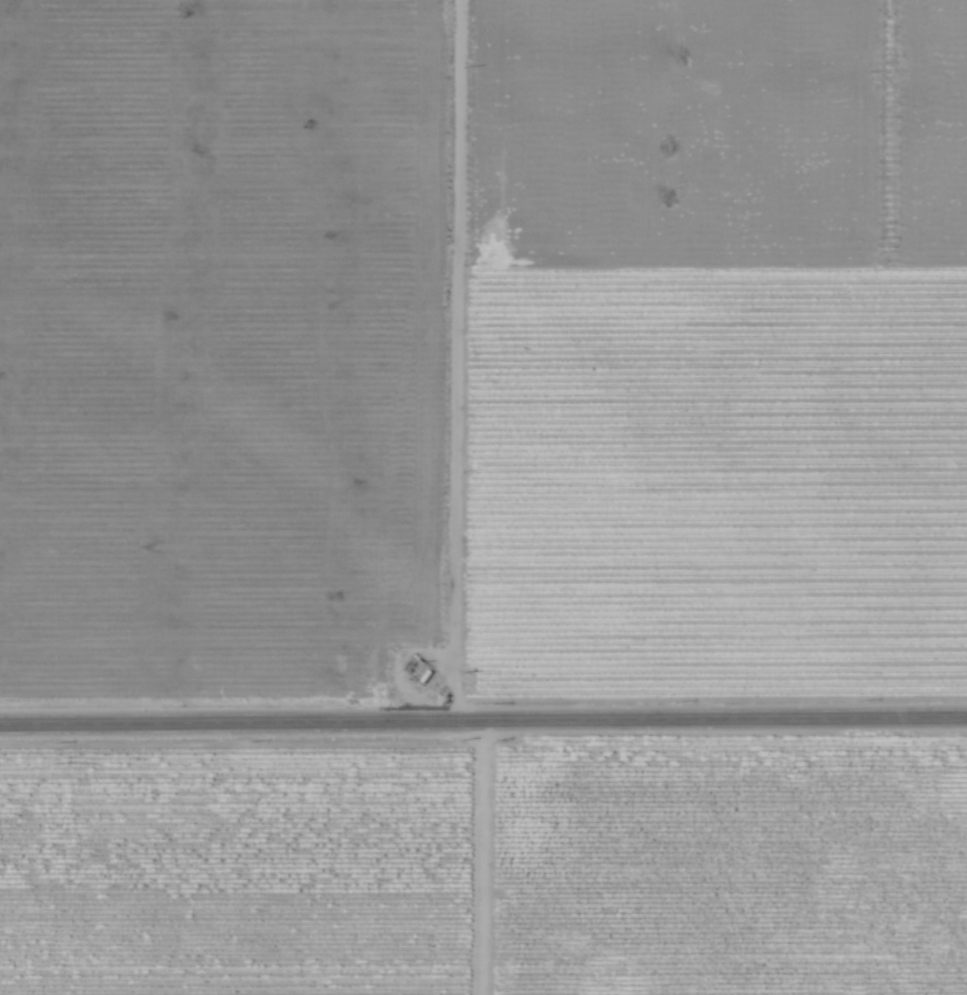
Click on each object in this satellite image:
road: (453, 361)
road: (483, 722)
road: (477, 859)

